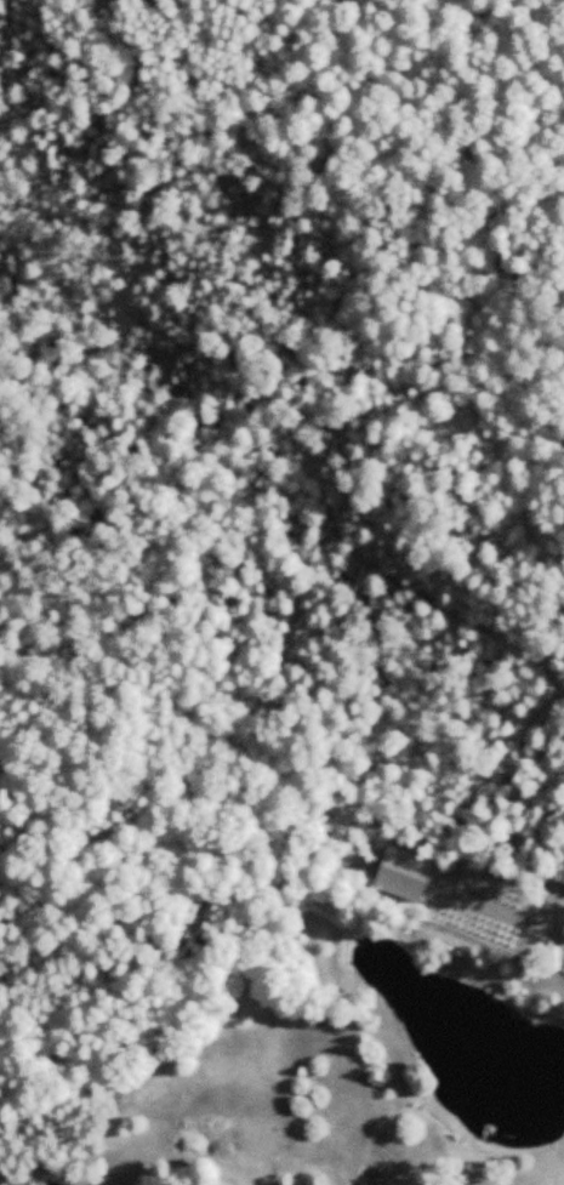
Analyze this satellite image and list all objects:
building: (210, 1138)

